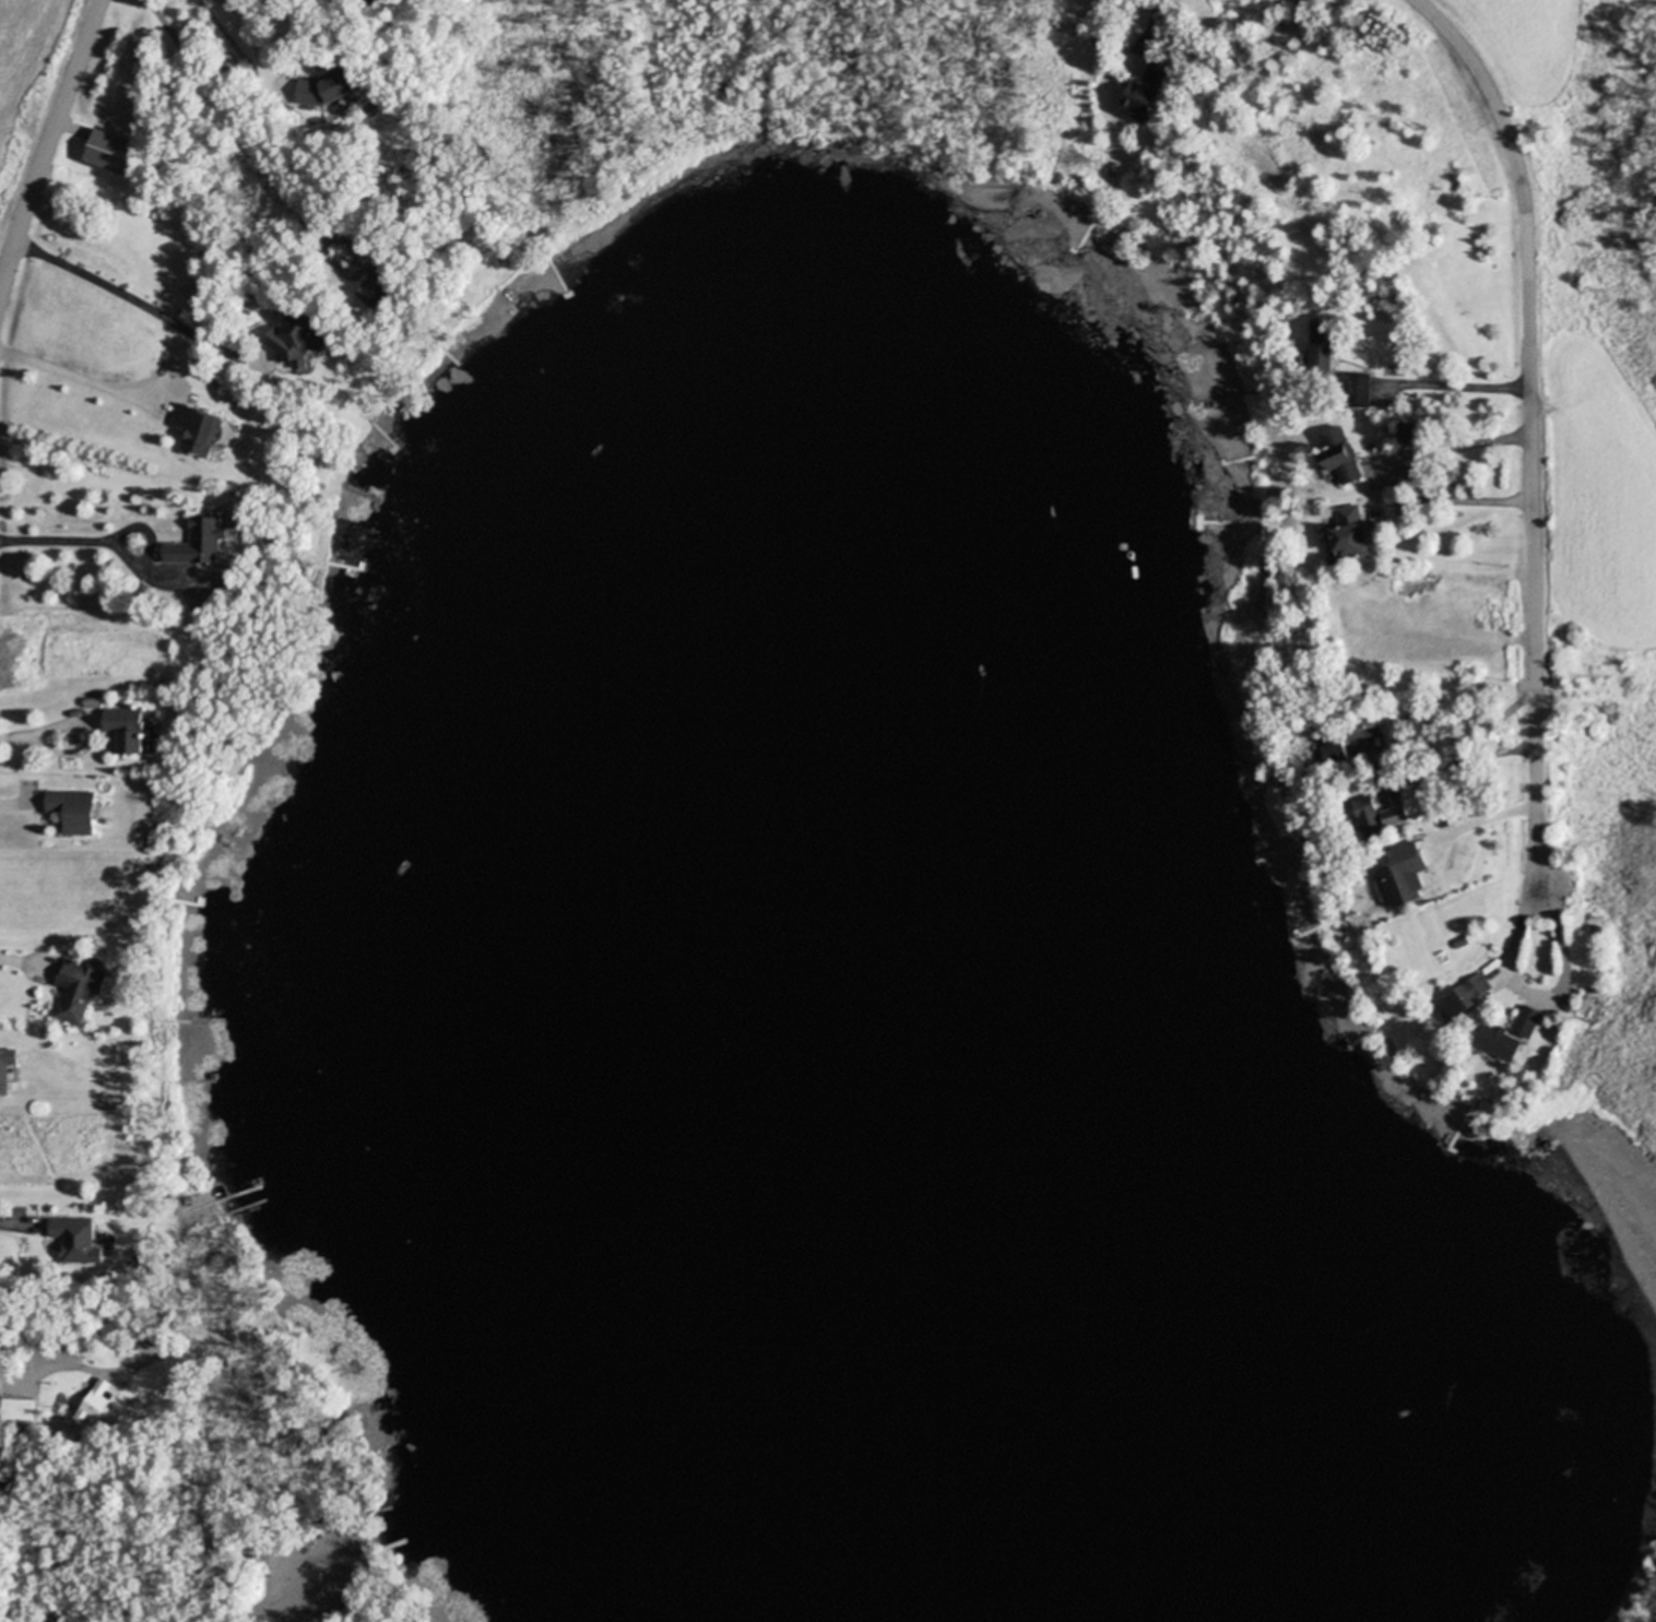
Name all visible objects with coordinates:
road: (1155, 13)
road: (249, 42)
building: (1143, 96)
road: (228, 110)
road: (46, 150)
building: (107, 154)
building: (375, 287)
road: (122, 296)
building: (293, 338)
building: (1320, 348)
road: (71, 376)
road: (1464, 384)
building: (1356, 392)
road: (1533, 426)
building: (194, 430)
building: (1406, 434)
road: (1462, 446)
building: (1338, 457)
road: (1465, 504)
building: (1348, 535)
road: (57, 541)
building: (197, 544)
building: (126, 732)
road: (17, 735)
road: (88, 737)
building: (1348, 739)
road: (1379, 766)
road: (12, 803)
building: (72, 812)
building: (1393, 817)
road: (1490, 819)
building: (1368, 820)
building: (1401, 876)
road: (5, 959)
road: (1513, 971)
building: (78, 990)
building: (1465, 998)
building: (1526, 1023)
building: (1495, 1043)
building: (5, 1069)
road: (11, 1224)
building: (75, 1241)
road: (31, 1372)
building: (93, 1402)
building: (16, 1411)
parking lot: (304, 1551)
road: (291, 1599)
road: (43, 1613)

